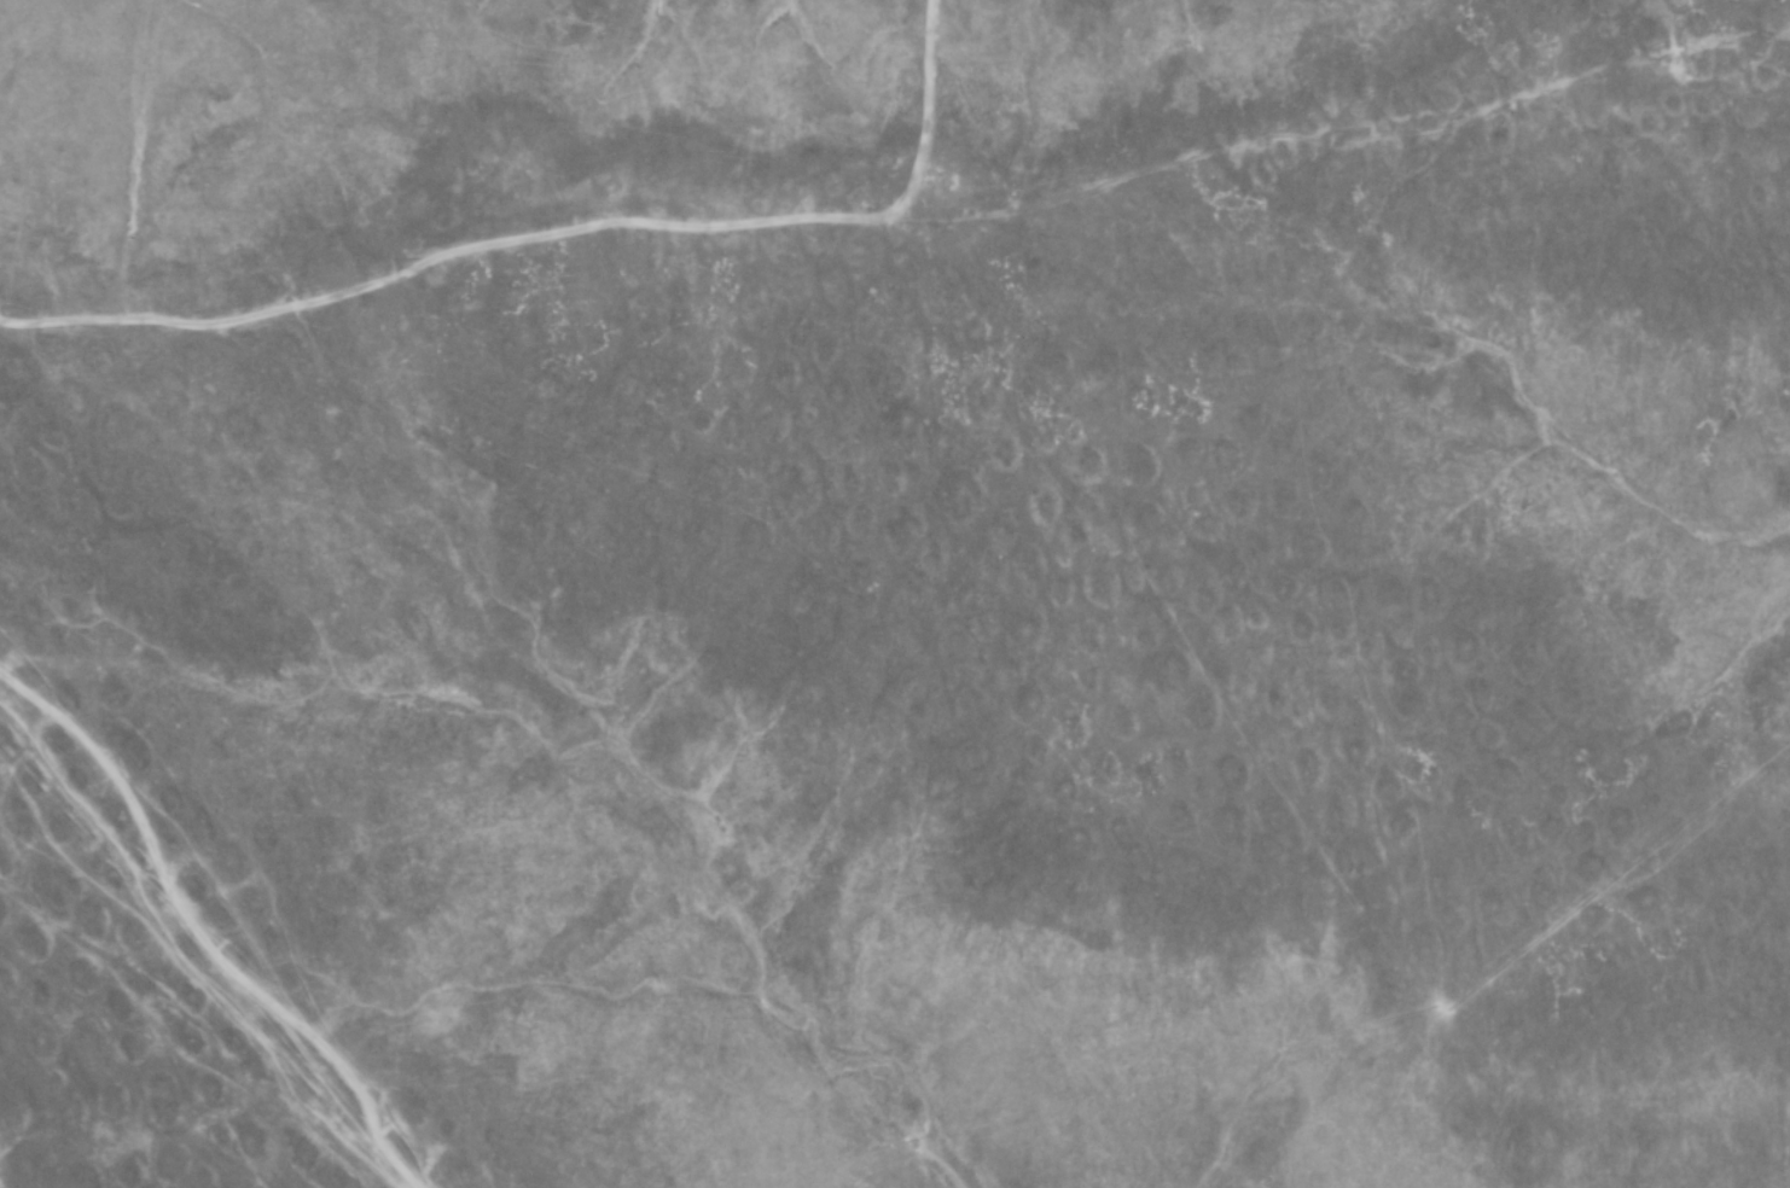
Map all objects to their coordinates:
road: (900, 214)
road: (207, 933)

